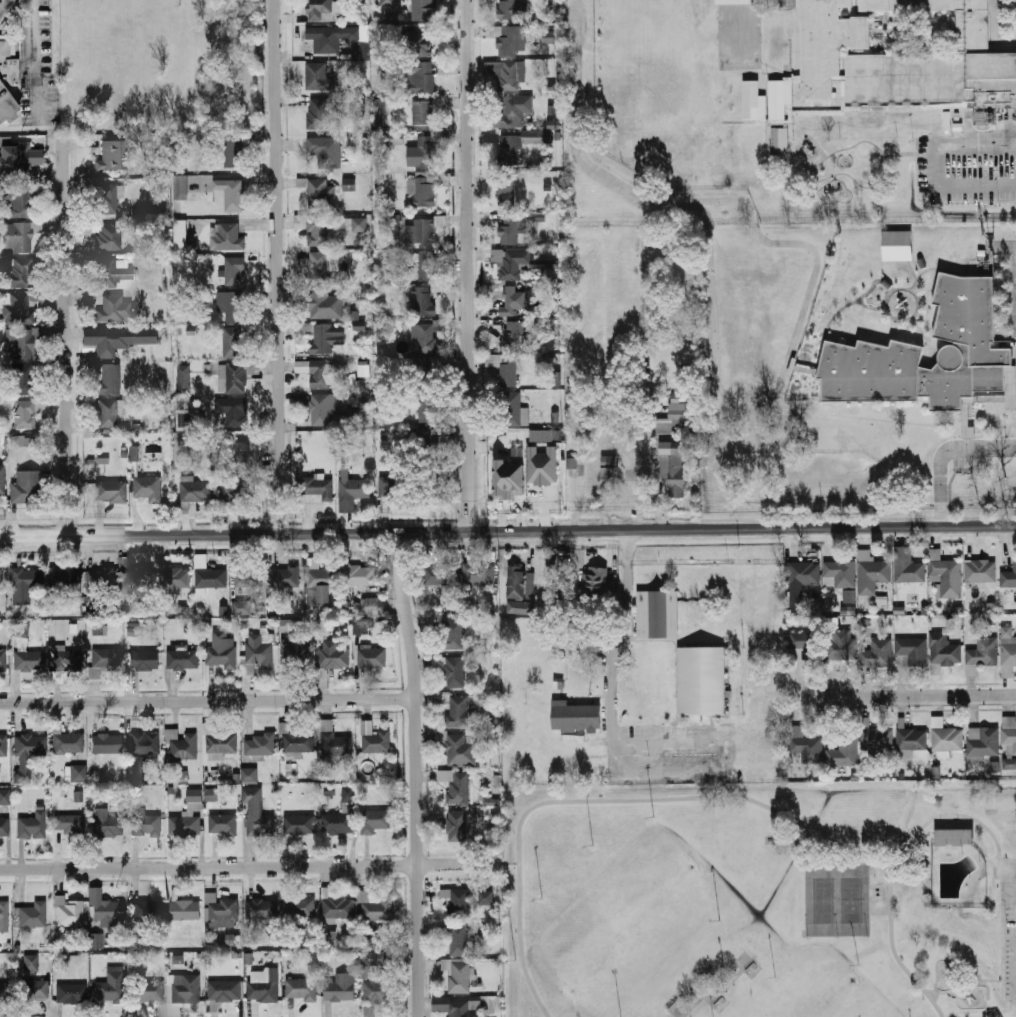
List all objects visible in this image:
building: (737, 1)
building: (388, 3)
building: (4, 7)
building: (320, 9)
building: (513, 9)
building: (424, 10)
building: (549, 37)
building: (333, 38)
building: (509, 39)
building: (416, 43)
building: (902, 57)
road: (34, 59)
parking lot: (40, 67)
building: (507, 74)
building: (319, 75)
building: (421, 76)
building: (780, 100)
building: (753, 103)
building: (7, 107)
building: (427, 109)
building: (379, 111)
building: (510, 112)
building: (318, 113)
building: (554, 124)
building: (534, 136)
building: (395, 138)
building: (779, 141)
road: (573, 142)
building: (509, 149)
building: (427, 150)
building: (325, 151)
road: (909, 152)
road: (882, 153)
building: (113, 155)
building: (231, 156)
building: (18, 158)
road: (936, 165)
building: (348, 184)
building: (181, 186)
building: (425, 189)
building: (323, 190)
building: (507, 192)
building: (229, 194)
building: (105, 196)
building: (19, 202)
building: (512, 228)
building: (322, 231)
building: (424, 231)
building: (21, 236)
building: (180, 236)
building: (109, 237)
building: (226, 237)
building: (897, 244)
road: (811, 249)
building: (512, 262)
building: (544, 264)
building: (319, 265)
building: (428, 265)
road: (470, 265)
road: (279, 267)
building: (235, 271)
building: (109, 272)
building: (19, 273)
road: (711, 287)
building: (424, 301)
building: (513, 302)
building: (324, 304)
building: (229, 305)
building: (19, 309)
building: (114, 309)
building: (541, 311)
building: (357, 321)
building: (428, 335)
building: (511, 336)
building: (324, 338)
building: (107, 340)
building: (972, 341)
building: (20, 343)
building: (234, 343)
road: (69, 355)
building: (436, 364)
building: (504, 369)
building: (363, 370)
building: (320, 374)
building: (183, 377)
building: (232, 378)
building: (110, 379)
building: (24, 380)
road: (746, 406)
building: (428, 407)
building: (516, 409)
building: (321, 410)
building: (232, 411)
building: (109, 413)
building: (24, 415)
building: (353, 415)
building: (188, 420)
building: (664, 428)
building: (541, 435)
building: (22, 440)
building: (432, 443)
building: (242, 452)
road: (945, 452)
building: (134, 453)
building: (571, 462)
building: (541, 465)
building: (671, 467)
building: (609, 470)
building: (508, 479)
building: (2, 480)
building: (386, 486)
building: (28, 487)
building: (148, 488)
building: (318, 488)
building: (233, 489)
building: (194, 490)
building: (111, 492)
building: (351, 492)
road: (507, 530)
building: (907, 566)
building: (980, 571)
building: (478, 573)
building: (802, 573)
building: (872, 573)
building: (839, 574)
building: (209, 575)
building: (358, 575)
building: (436, 575)
building: (947, 576)
building: (172, 577)
building: (248, 577)
building: (285, 577)
building: (1008, 577)
building: (133, 579)
building: (1, 580)
building: (320, 580)
building: (67, 581)
building: (100, 581)
building: (597, 581)
building: (517, 582)
building: (529, 583)
building: (23, 584)
building: (847, 596)
building: (373, 602)
building: (241, 607)
building: (451, 609)
building: (847, 610)
building: (656, 614)
building: (289, 626)
building: (360, 626)
building: (99, 631)
building: (132, 632)
building: (452, 635)
building: (801, 642)
building: (221, 649)
building: (841, 649)
building: (945, 651)
building: (257, 653)
building: (877, 653)
building: (916, 653)
building: (297, 655)
building: (333, 655)
building: (981, 655)
building: (1008, 656)
building: (27, 657)
building: (372, 657)
building: (182, 659)
building: (144, 660)
building: (3, 661)
building: (103, 661)
building: (73, 662)
building: (451, 670)
building: (701, 680)
road: (610, 690)
road: (924, 695)
road: (206, 700)
building: (460, 709)
building: (576, 716)
building: (1009, 737)
building: (374, 738)
building: (295, 739)
building: (879, 739)
building: (912, 739)
building: (948, 739)
building: (219, 741)
building: (334, 741)
building: (983, 741)
building: (67, 742)
building: (107, 743)
building: (182, 744)
building: (261, 744)
building: (806, 745)
building: (4, 746)
building: (143, 747)
building: (457, 747)
building: (843, 753)
building: (28, 754)
building: (1009, 763)
building: (993, 766)
building: (135, 768)
building: (78, 773)
road: (413, 774)
building: (249, 775)
building: (456, 785)
building: (210, 794)
building: (5, 797)
road: (687, 798)
building: (491, 801)
building: (257, 813)
road: (952, 814)
building: (340, 815)
building: (188, 818)
building: (375, 820)
building: (107, 823)
building: (69, 824)
building: (222, 824)
building: (299, 824)
building: (457, 824)
building: (146, 825)
building: (32, 826)
building: (4, 827)
building: (953, 837)
road: (984, 854)
road: (1007, 859)
road: (905, 862)
road: (510, 864)
road: (251, 867)
park: (877, 887)
building: (485, 898)
park: (760, 899)
park: (823, 900)
park: (850, 900)
building: (459, 902)
park: (877, 906)
building: (105, 907)
building: (375, 907)
building: (300, 908)
building: (148, 909)
building: (222, 909)
building: (262, 909)
building: (338, 909)
building: (185, 910)
building: (68, 912)
building: (33, 915)
building: (4, 916)
park: (630, 924)
road: (999, 927)
parking lot: (1010, 938)
building: (230, 939)
building: (459, 939)
building: (97, 941)
building: (177, 959)
building: (370, 962)
building: (31, 963)
road: (697, 970)
building: (459, 976)
road: (731, 981)
road: (962, 982)
road: (713, 985)
building: (111, 987)
building: (302, 987)
building: (345, 987)
road: (694, 989)
road: (986, 989)
building: (34, 990)
building: (225, 990)
building: (263, 990)
building: (147, 991)
building: (377, 991)
park: (819, 991)
building: (4, 992)
building: (184, 992)
building: (72, 993)
building: (458, 1006)

